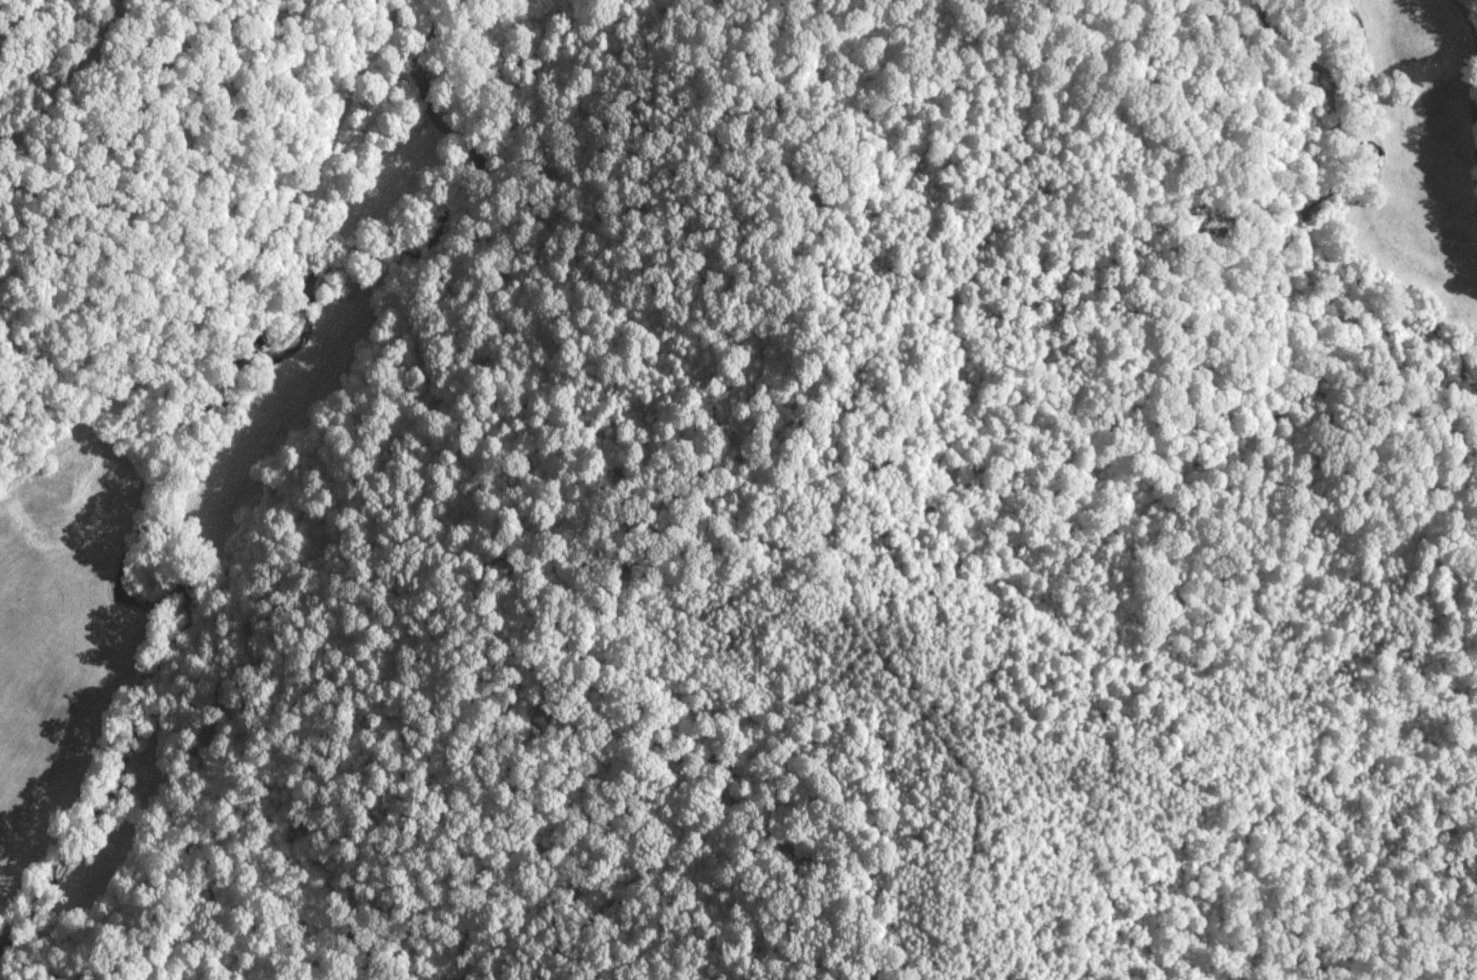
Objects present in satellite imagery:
road: (1472, 3)
road: (222, 276)

